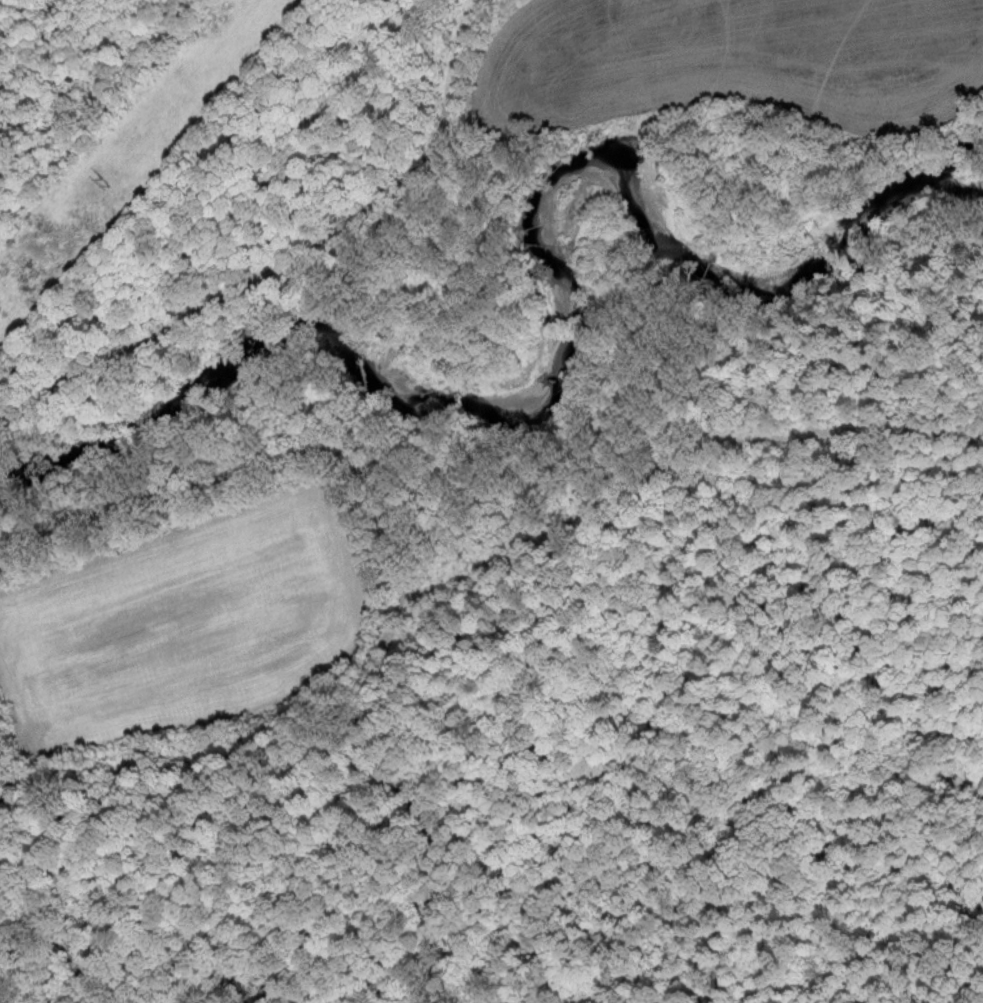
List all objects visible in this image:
power tower: (107, 181)
road: (278, 234)
road: (245, 464)
road: (488, 554)

